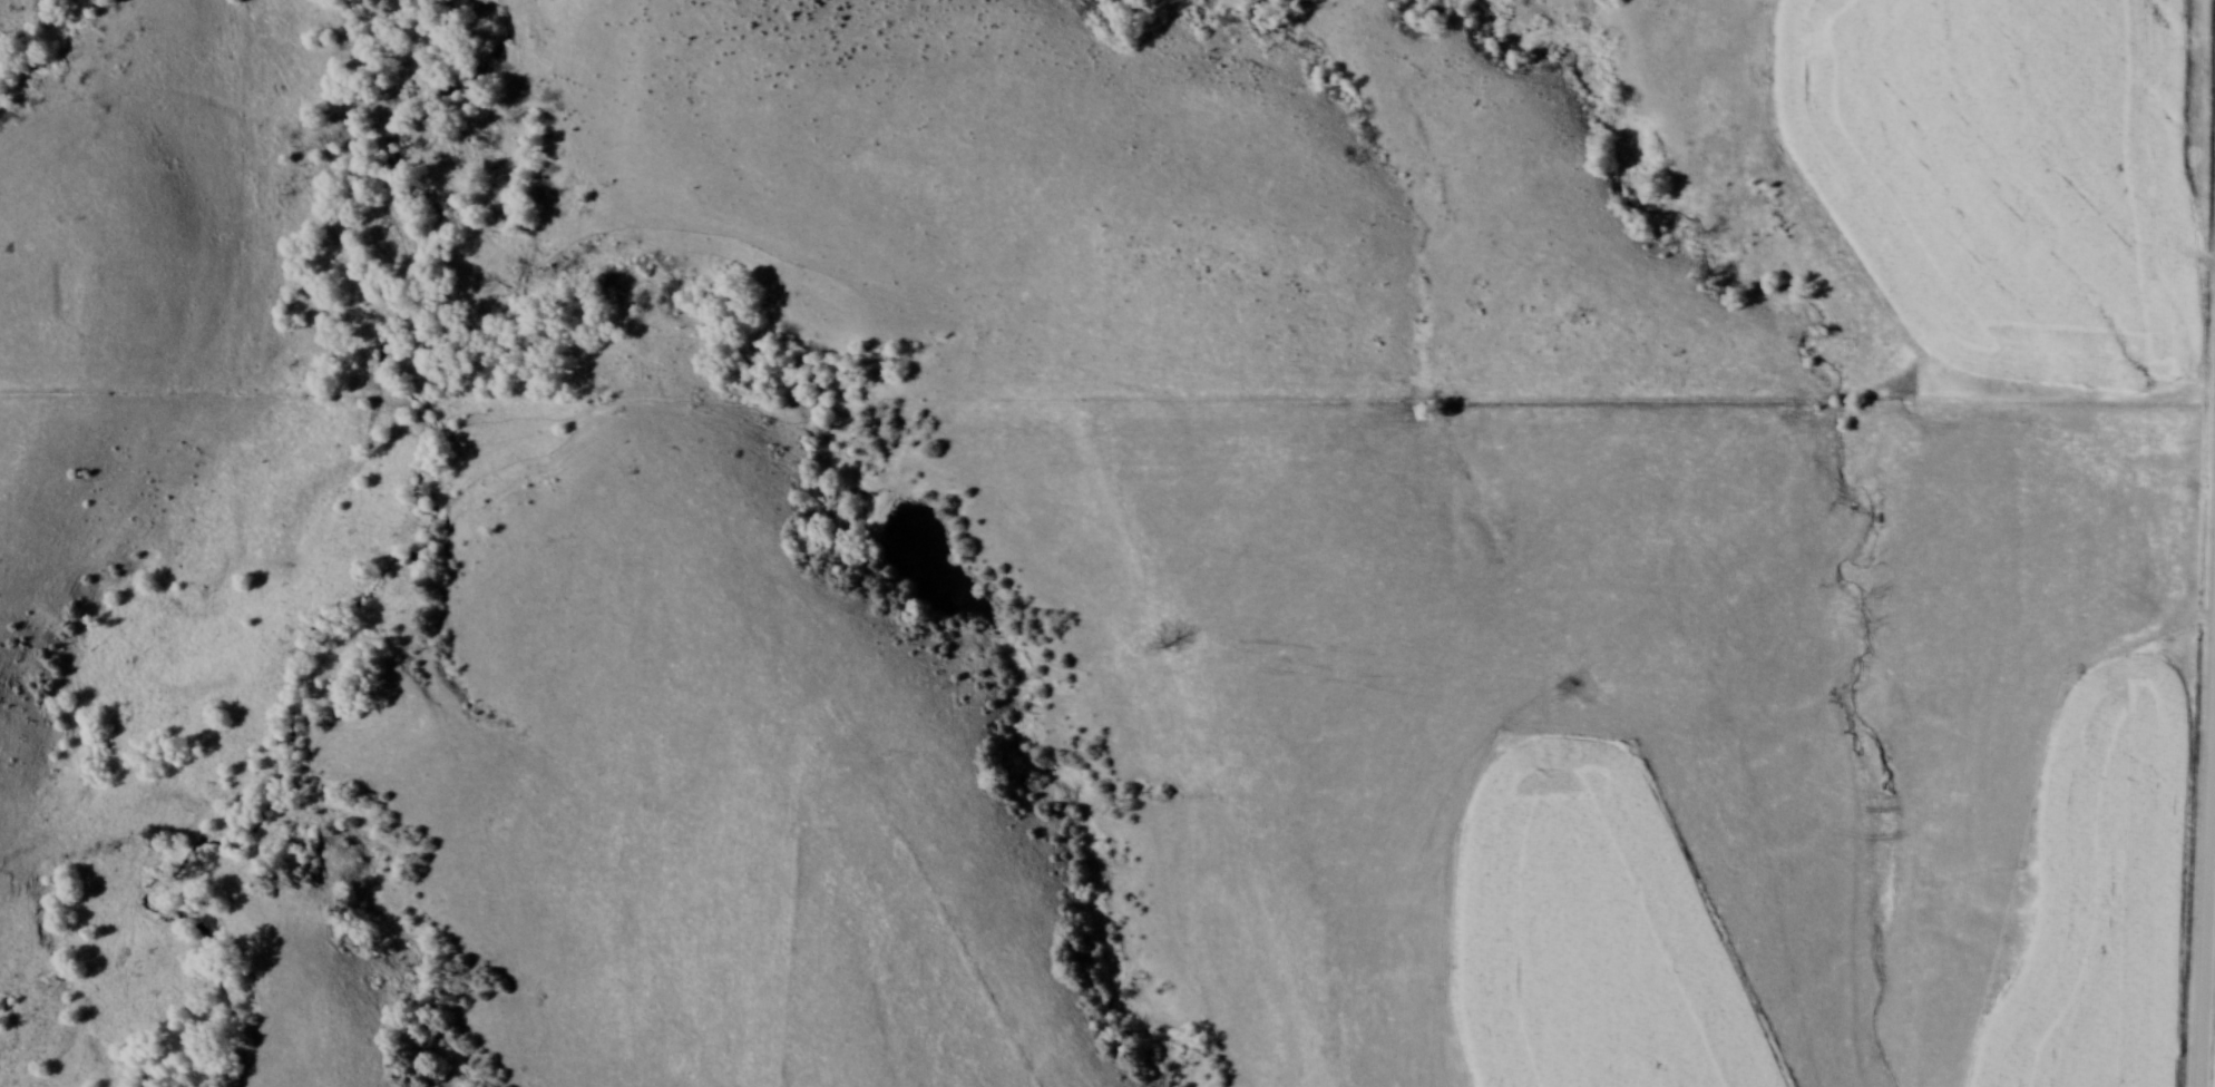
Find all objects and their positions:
road: (2202, 674)

